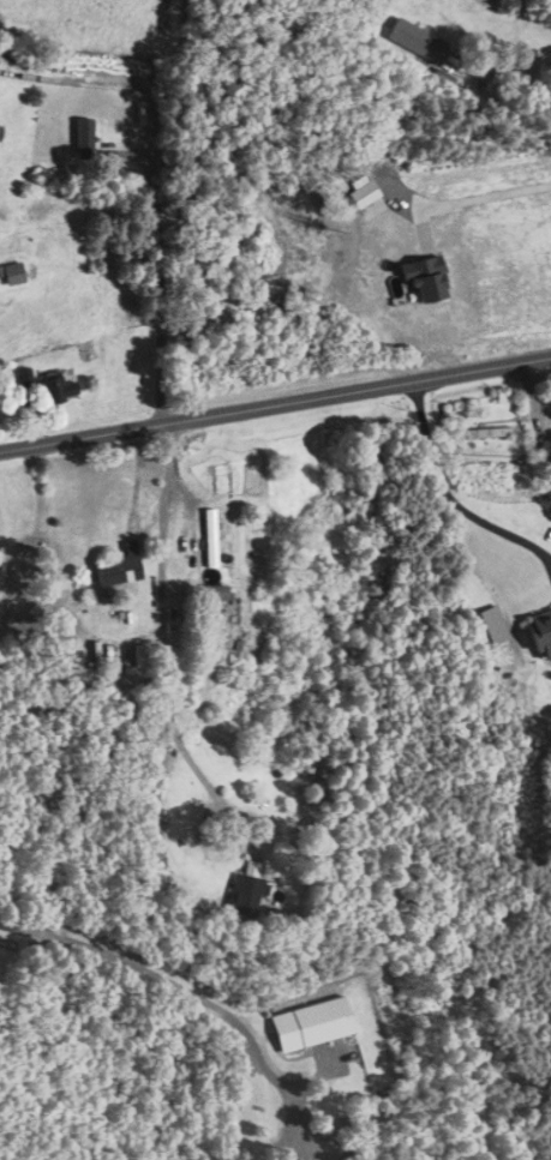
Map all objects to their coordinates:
building: (413, 41)
road: (507, 78)
building: (84, 137)
road: (477, 199)
road: (152, 269)
building: (10, 275)
building: (109, 351)
building: (53, 389)
road: (275, 404)
building: (486, 435)
road: (449, 498)
building: (118, 569)
building: (214, 594)
building: (486, 627)
building: (216, 630)
building: (538, 633)
road: (164, 655)
building: (241, 891)
road: (188, 992)
building: (306, 1026)

